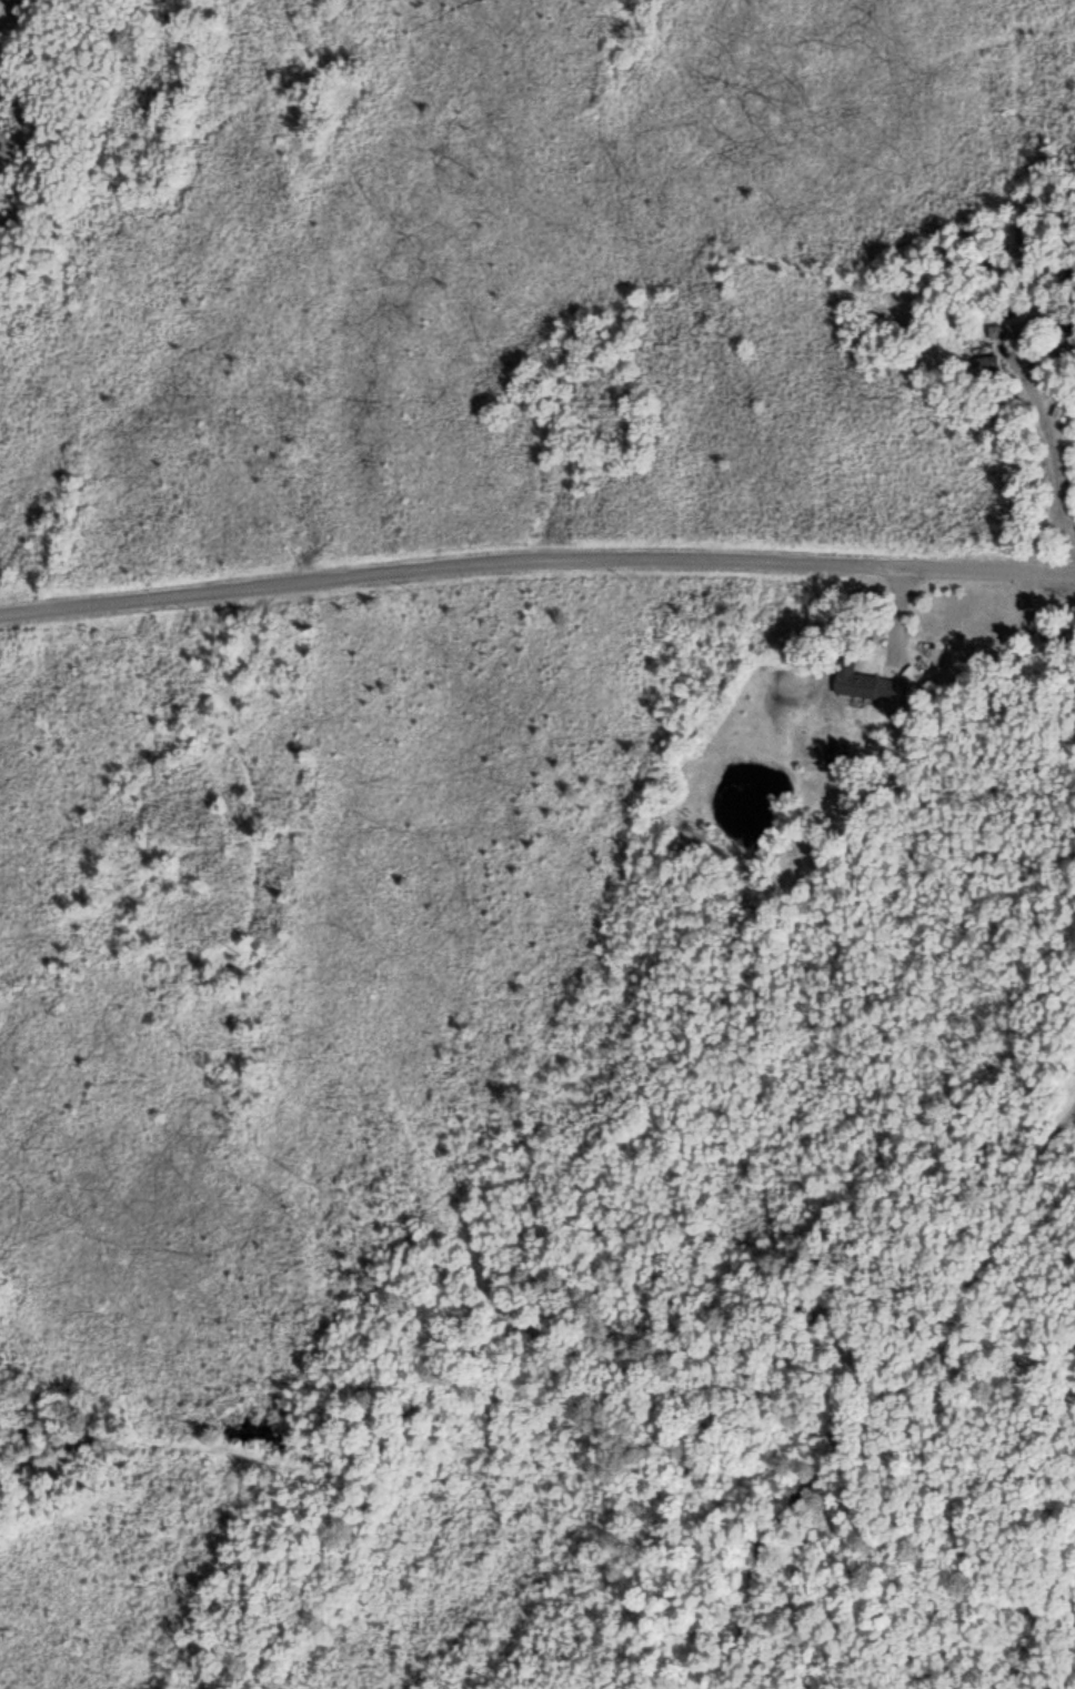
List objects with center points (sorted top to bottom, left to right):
building: (1016, 329)
building: (989, 363)
road: (1052, 466)
road: (535, 561)
building: (864, 685)

